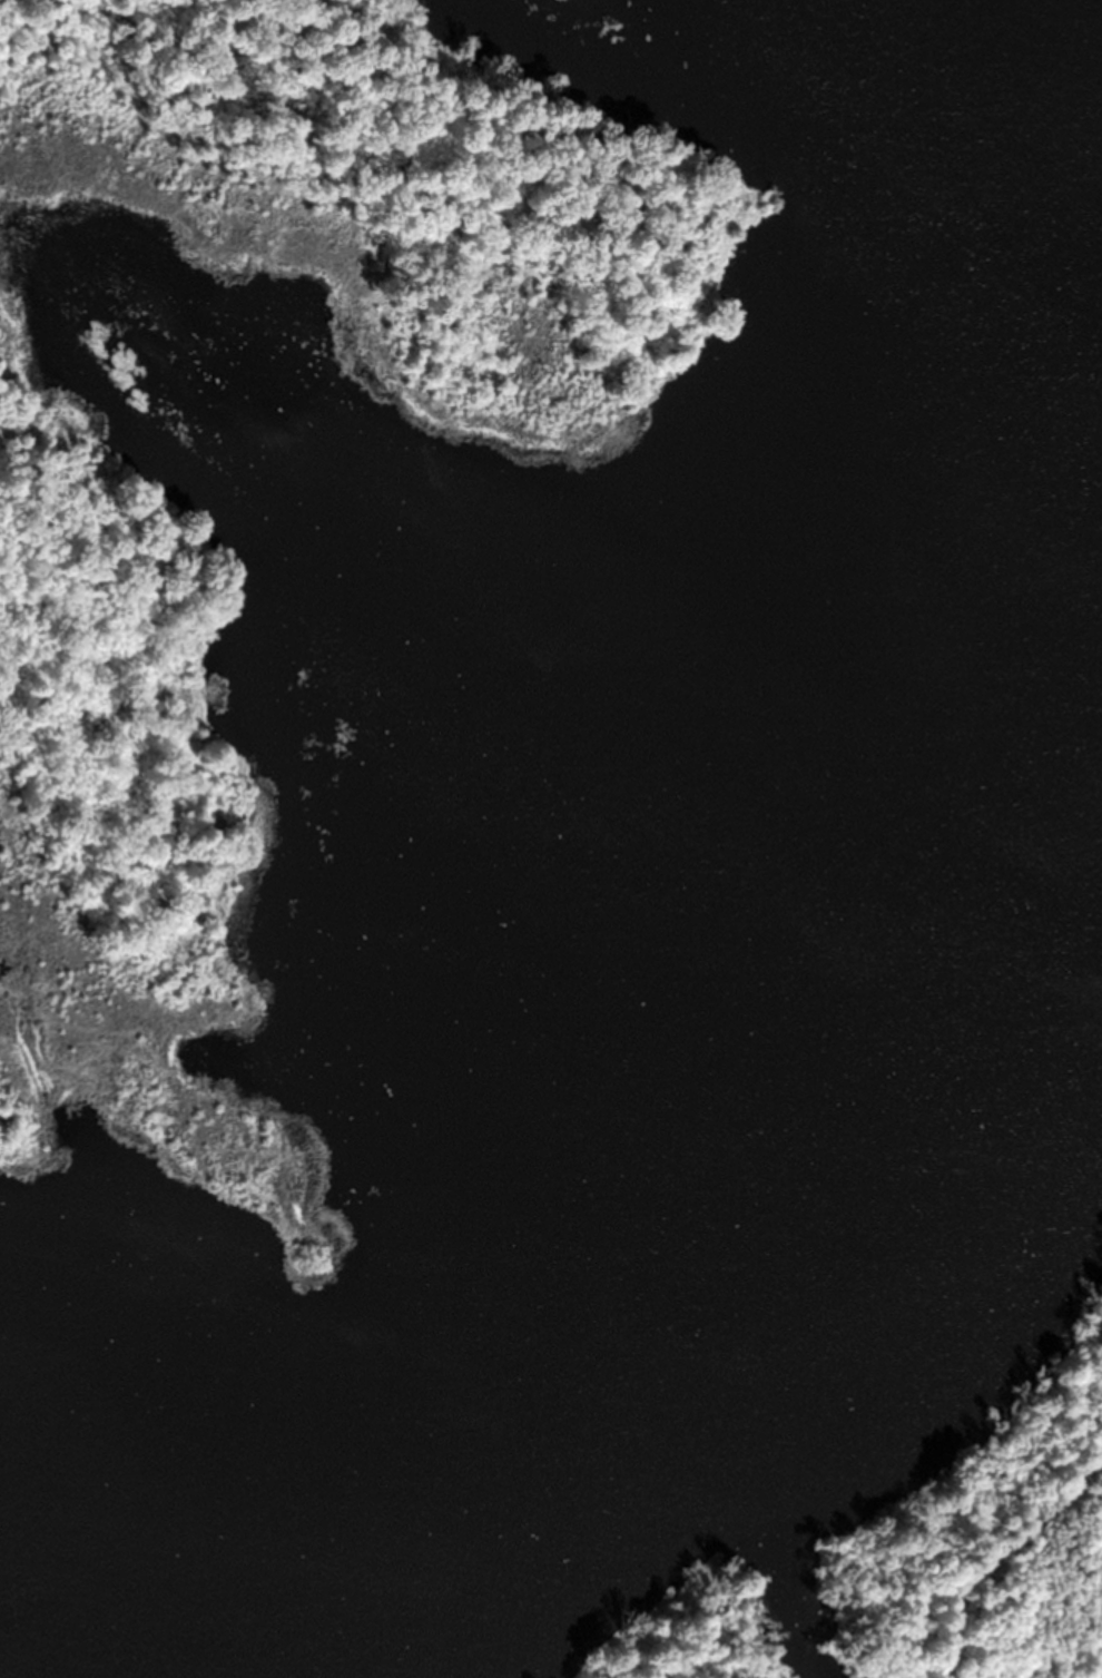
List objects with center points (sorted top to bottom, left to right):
road: (1002, 1554)

